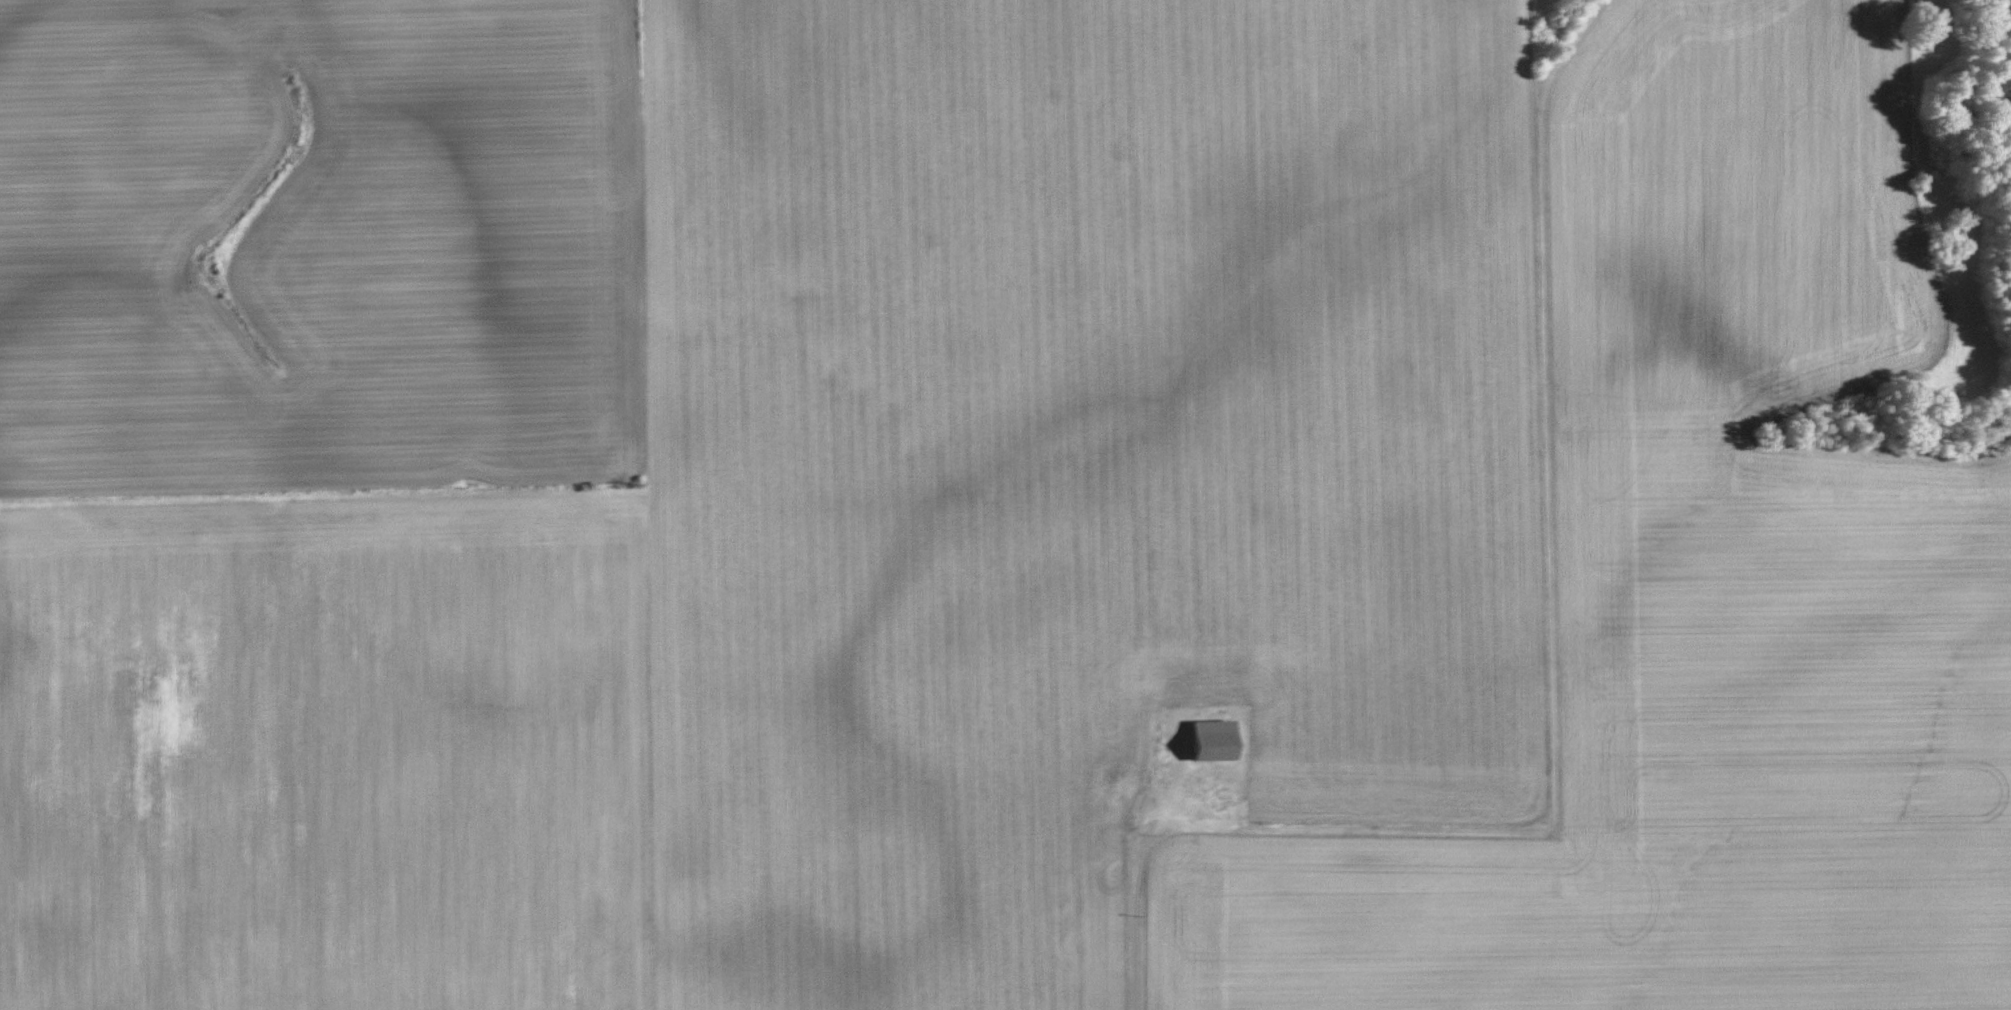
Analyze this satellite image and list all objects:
building: (1204, 740)
road: (1132, 915)

